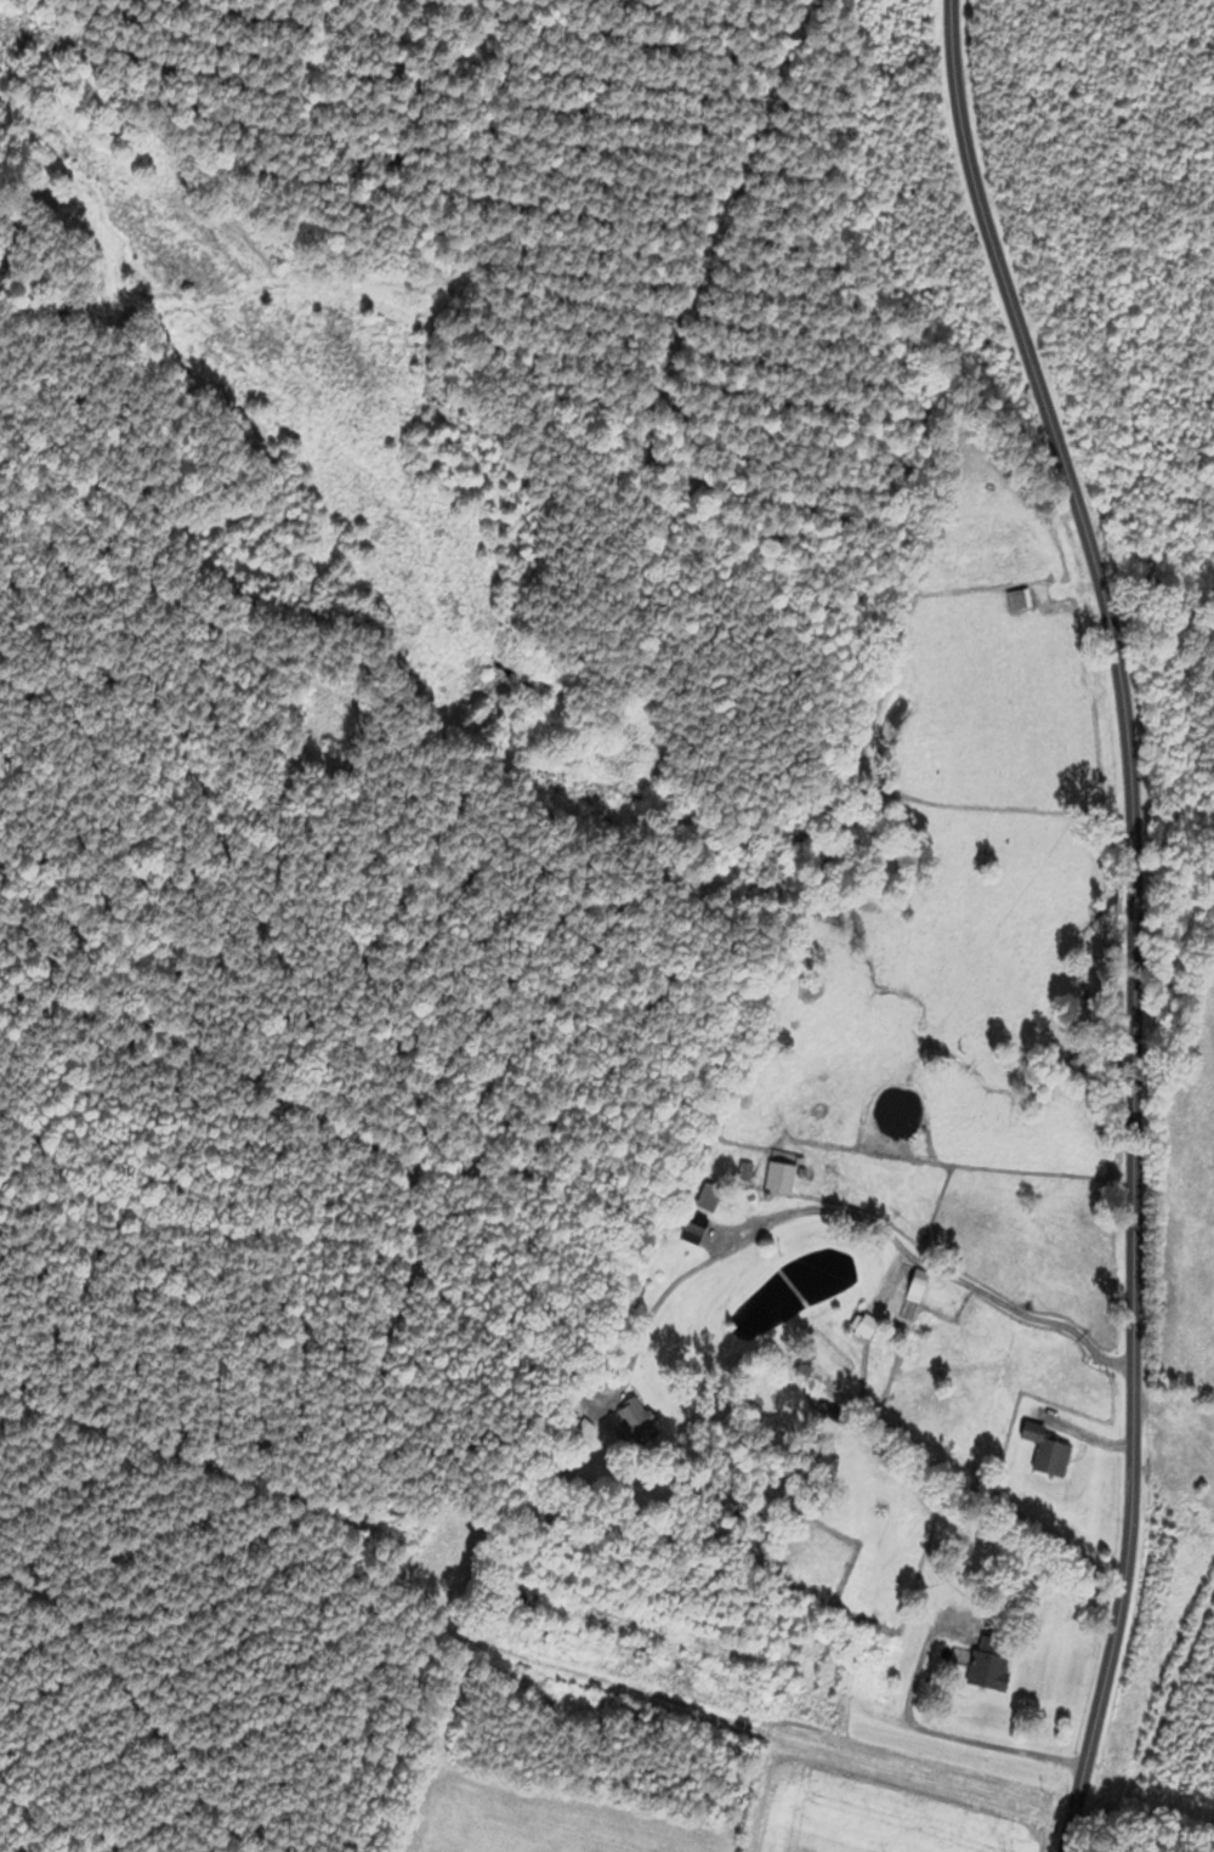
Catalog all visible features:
road: (1133, 917)
building: (781, 1173)
road: (869, 1219)
building: (863, 1325)
building: (639, 1422)
building: (1048, 1451)
building: (657, 1632)
building: (989, 1664)
road: (935, 1733)

